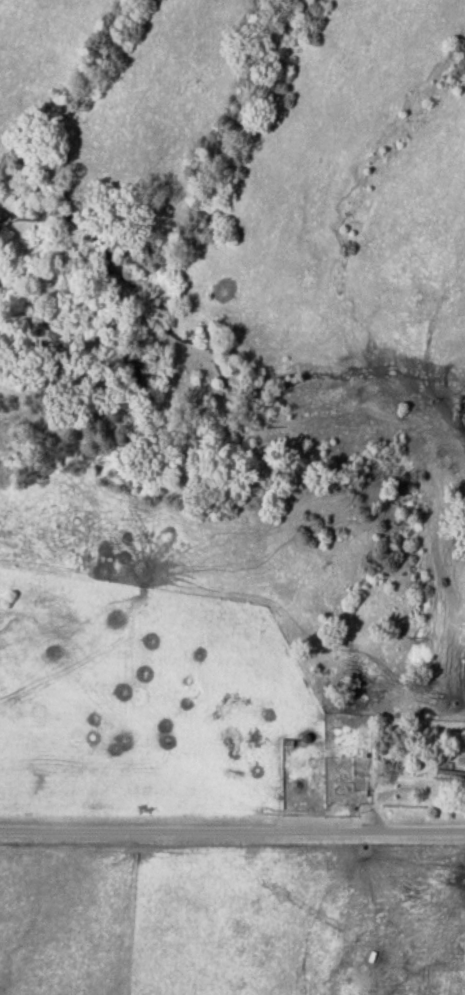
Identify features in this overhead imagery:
building: (450, 777)
road: (232, 831)

